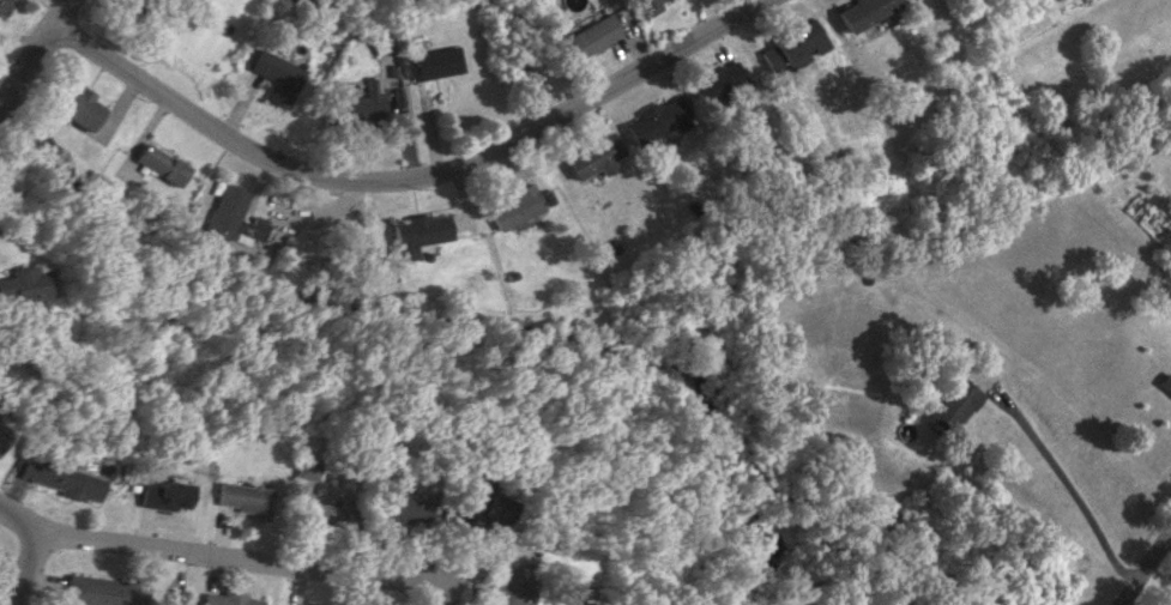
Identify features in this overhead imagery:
building: (2, 6)
building: (131, 6)
building: (646, 6)
building: (858, 11)
building: (591, 35)
building: (791, 47)
road: (30, 49)
building: (427, 62)
building: (273, 75)
building: (714, 83)
building: (72, 105)
building: (360, 107)
building: (654, 120)
building: (590, 156)
building: (147, 165)
road: (405, 179)
building: (511, 207)
building: (234, 223)
building: (415, 232)
building: (23, 284)
building: (1161, 383)
building: (949, 406)
building: (2, 435)
building: (304, 467)
building: (59, 479)
road: (1064, 485)
building: (163, 495)
building: (242, 498)
building: (479, 503)
building: (397, 507)
building: (318, 514)
road: (1167, 539)
road: (216, 555)
road: (1145, 564)
road: (23, 568)
building: (505, 582)
building: (98, 591)
building: (175, 597)
building: (224, 599)

